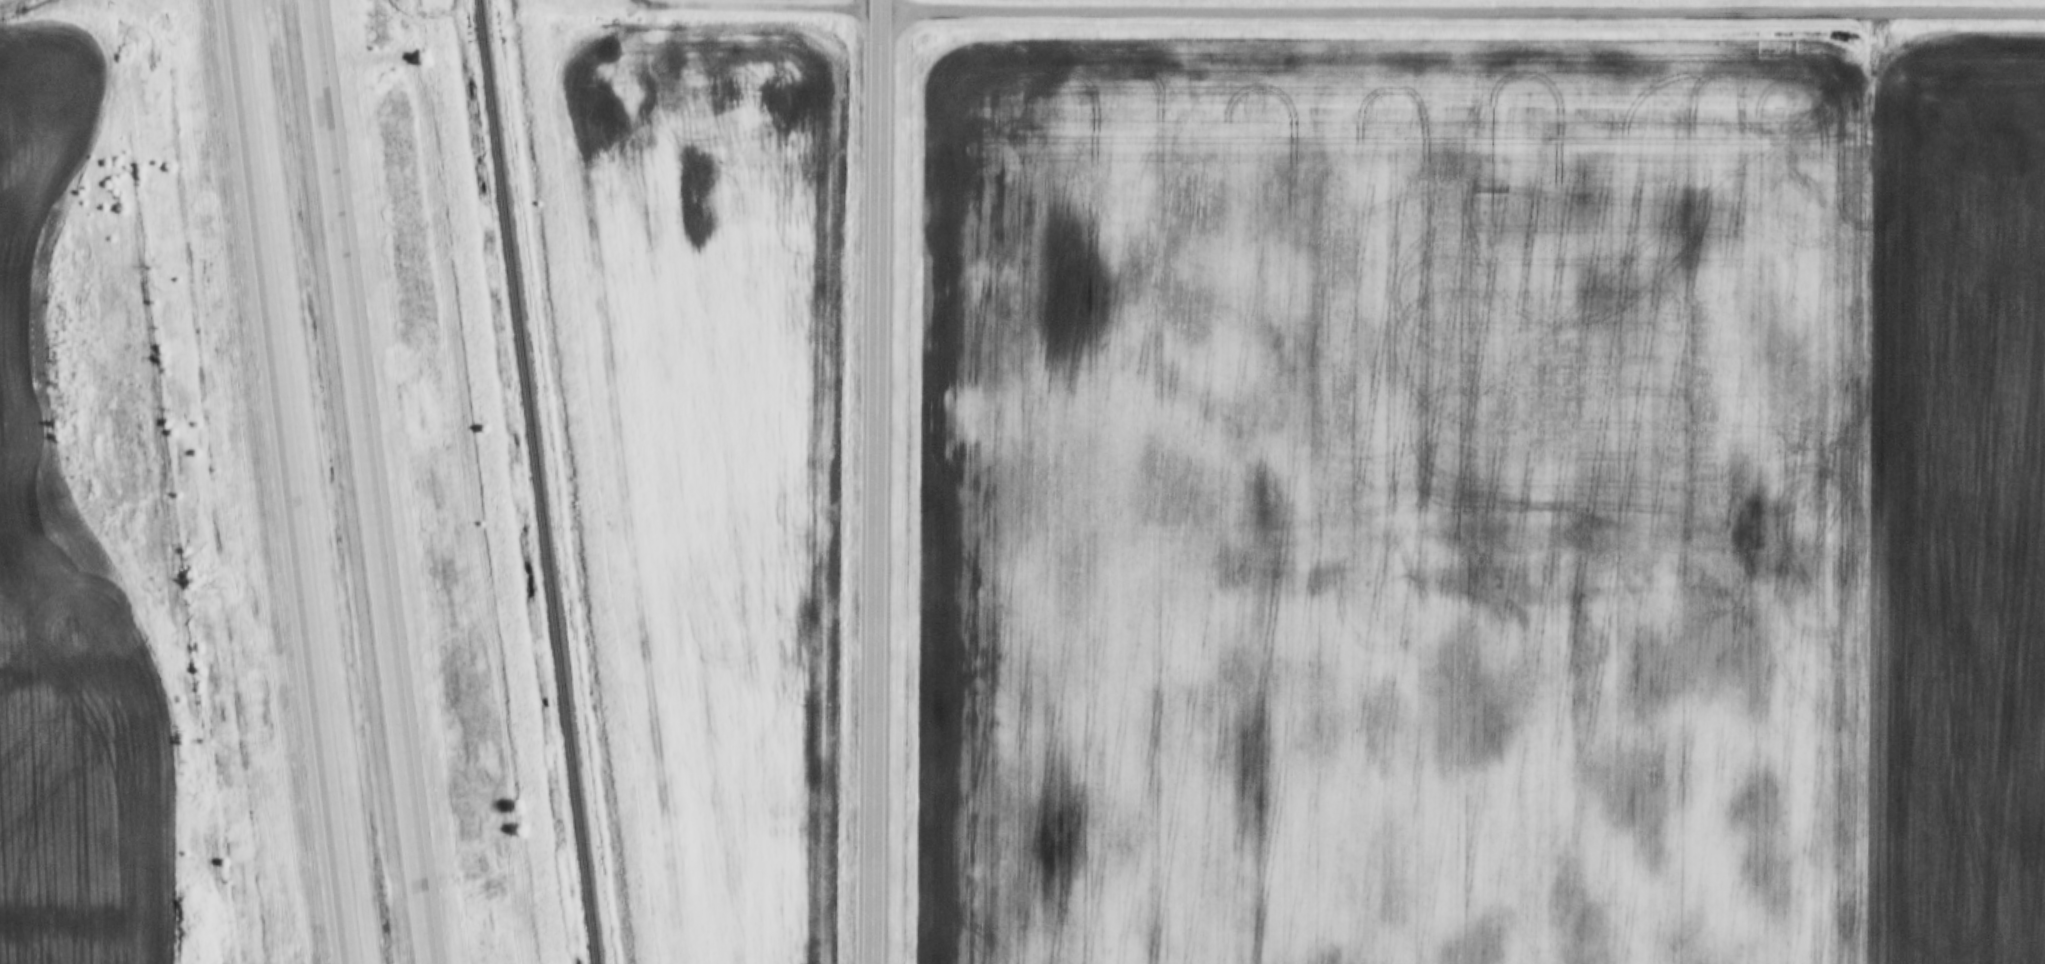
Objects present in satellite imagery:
road: (707, 4)
road: (1464, 10)
road: (878, 481)
road: (288, 482)
road: (367, 482)
railway: (535, 482)

